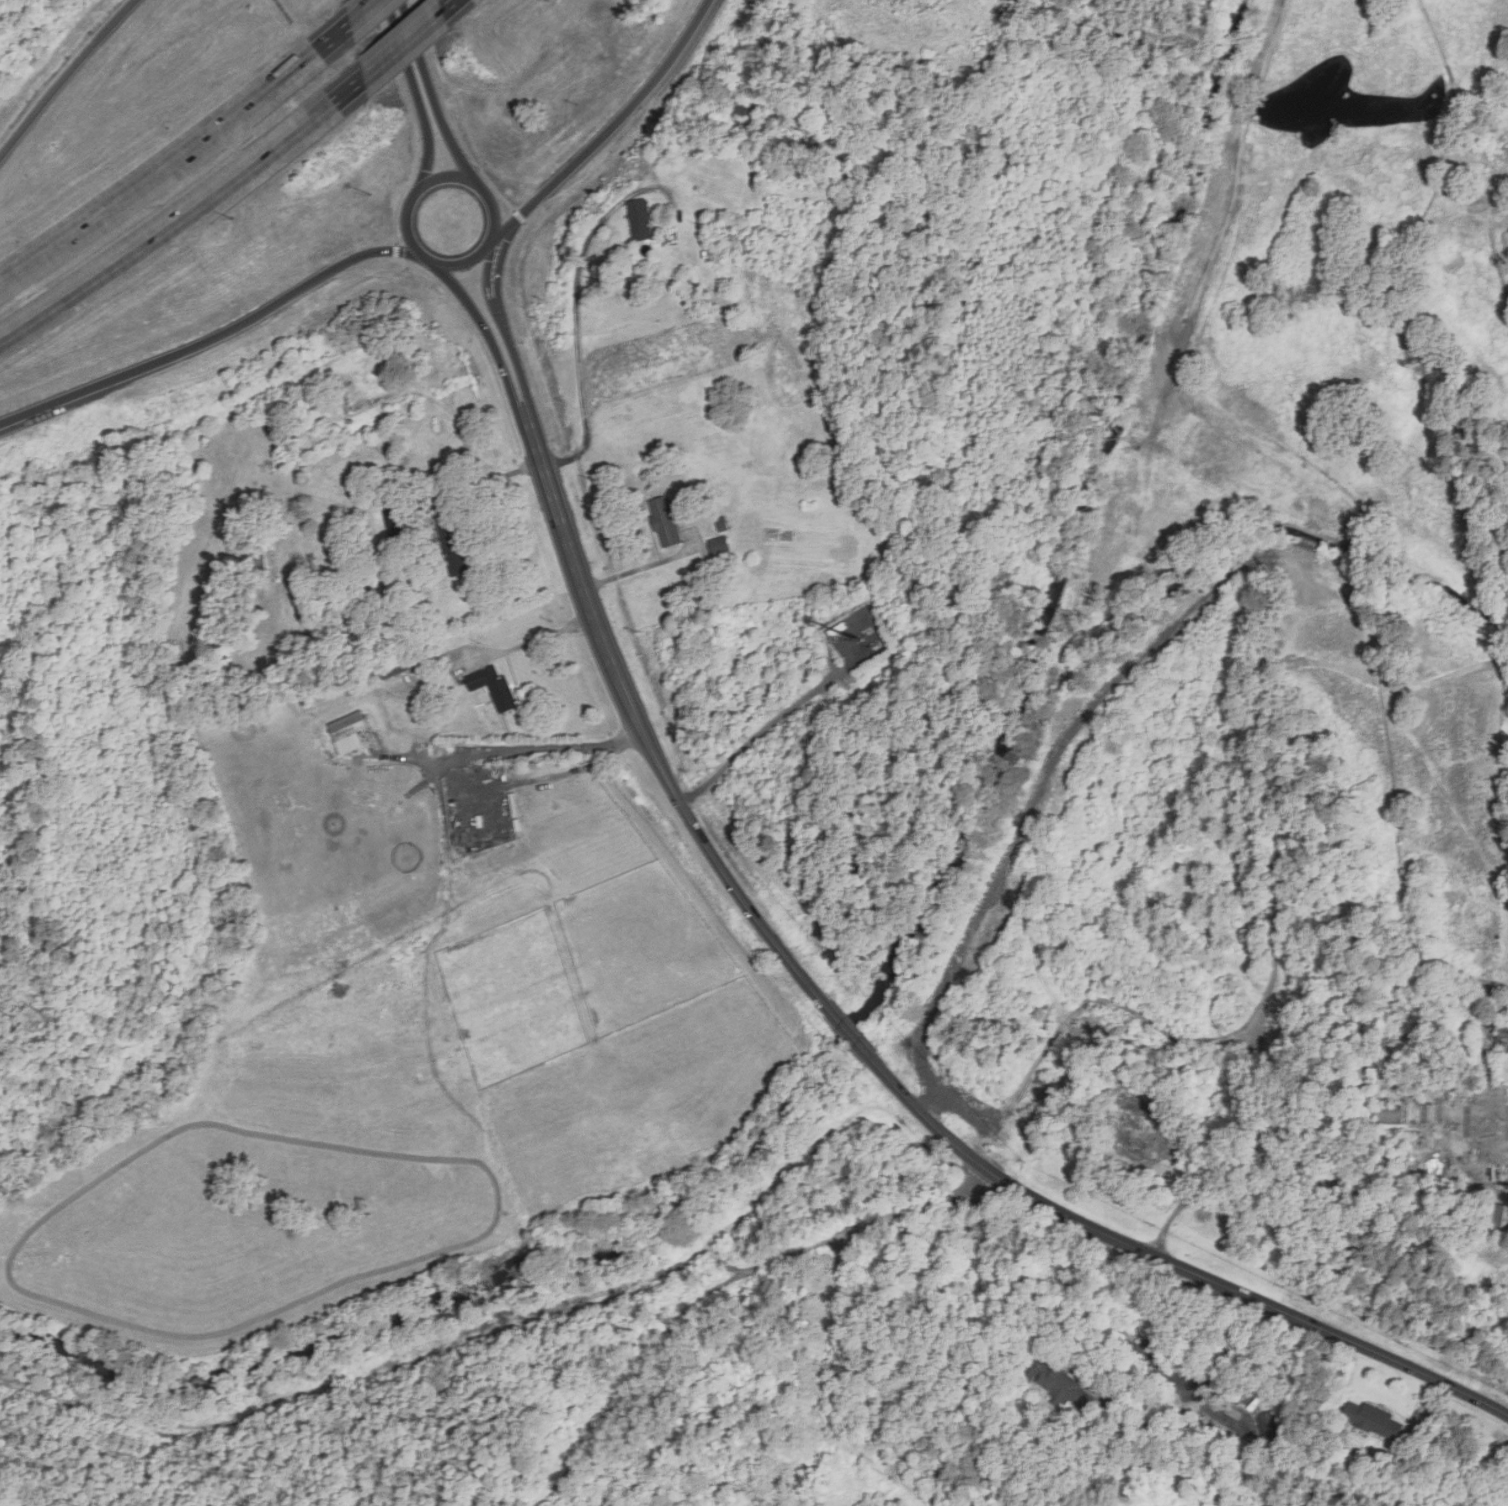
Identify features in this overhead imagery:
road: (454, 2)
road: (363, 15)
road: (406, 32)
road: (405, 44)
road: (420, 70)
road: (68, 76)
building: (747, 116)
road: (613, 128)
road: (176, 163)
road: (423, 188)
road: (183, 219)
building: (640, 219)
road: (494, 268)
road: (489, 330)
road: (212, 335)
road: (579, 335)
road: (514, 348)
road: (485, 482)
building: (666, 521)
building: (720, 545)
building: (454, 551)
building: (263, 559)
road: (645, 567)
road: (528, 642)
building: (396, 666)
building: (494, 687)
road: (643, 723)
building: (348, 726)
road: (757, 736)
road: (852, 1035)
building: (1139, 1124)
building: (1501, 1217)
road: (1175, 1264)
building: (1060, 1383)
road: (1202, 1383)
building: (1374, 1419)
building: (1272, 1427)

